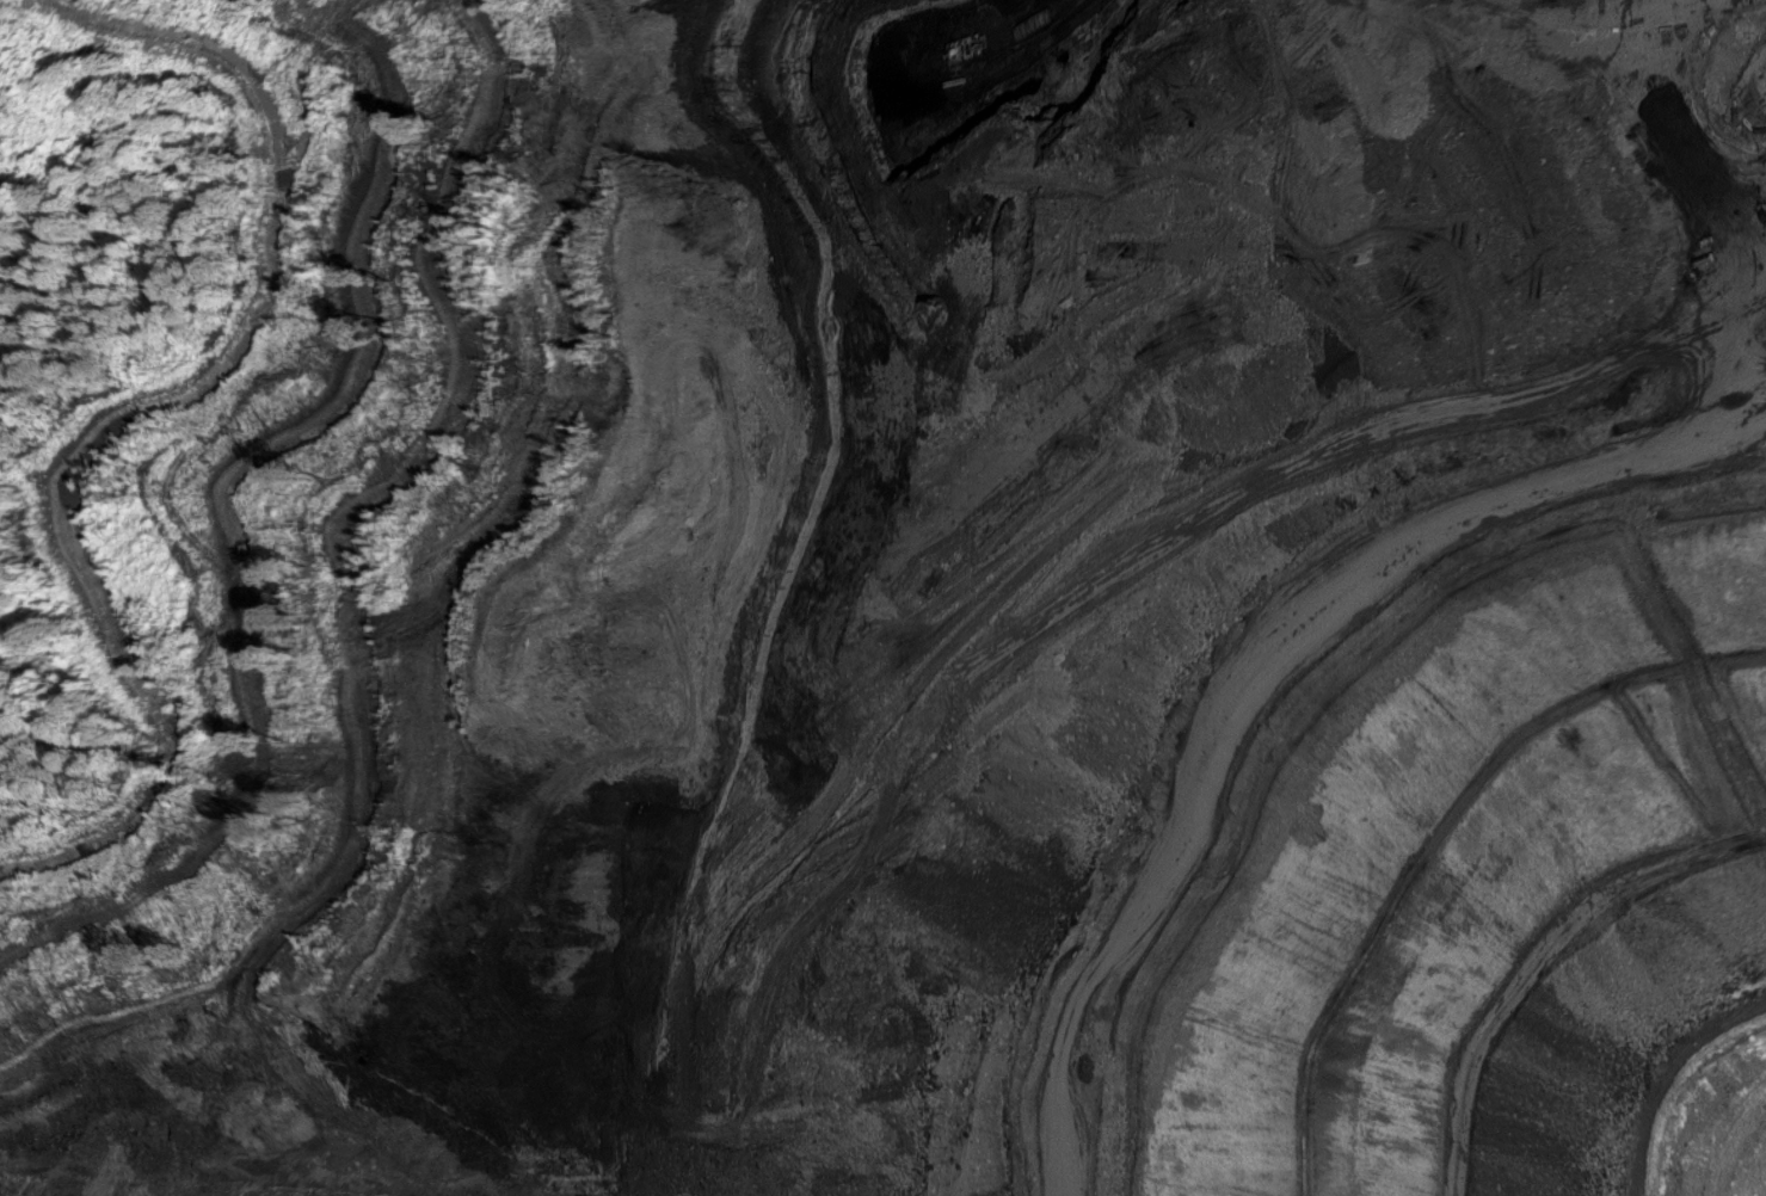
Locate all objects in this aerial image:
quarry: (931, 614)

